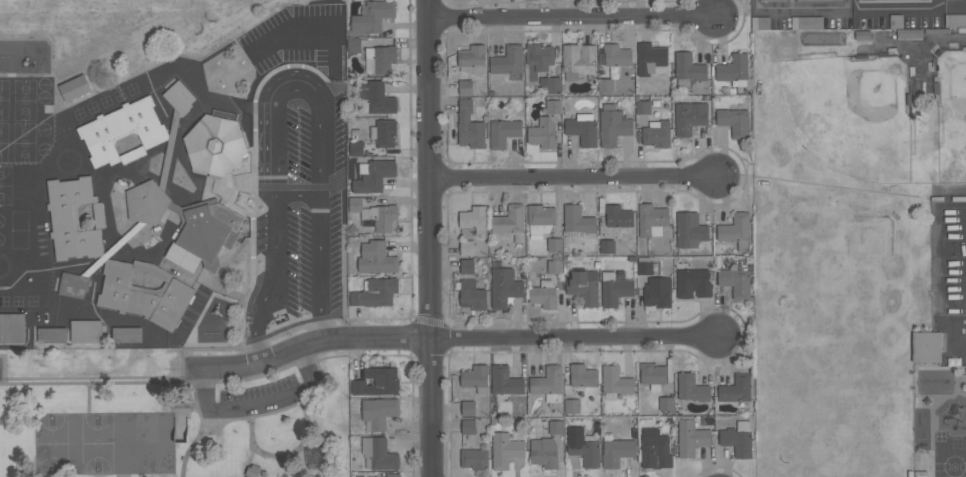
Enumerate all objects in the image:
building: (773, 0)
building: (830, 0)
building: (892, 1)
road: (757, 7)
road: (902, 10)
road: (811, 11)
building: (373, 16)
road: (576, 17)
building: (955, 20)
building: (807, 23)
building: (354, 44)
building: (617, 55)
building: (382, 57)
building: (472, 59)
building: (651, 59)
building: (508, 60)
building: (538, 60)
building: (578, 60)
road: (288, 68)
building: (734, 69)
building: (688, 70)
building: (550, 84)
building: (605, 85)
road: (262, 86)
building: (465, 87)
building: (75, 88)
building: (179, 97)
building: (376, 98)
building: (553, 106)
building: (647, 106)
road: (240, 107)
building: (689, 117)
building: (734, 121)
building: (613, 125)
building: (470, 127)
building: (582, 129)
building: (122, 131)
building: (503, 132)
building: (383, 133)
building: (543, 133)
building: (656, 133)
building: (215, 145)
building: (356, 148)
building: (373, 175)
road: (577, 177)
road: (304, 183)
building: (146, 202)
road: (288, 202)
building: (355, 204)
building: (618, 216)
building: (381, 217)
building: (74, 218)
building: (474, 218)
building: (541, 218)
building: (578, 219)
building: (652, 220)
building: (510, 222)
building: (690, 230)
building: (736, 230)
building: (204, 235)
road: (433, 238)
building: (554, 244)
building: (607, 246)
building: (467, 247)
building: (376, 258)
building: (644, 265)
building: (467, 266)
building: (554, 267)
building: (736, 280)
building: (693, 283)
building: (73, 285)
building: (584, 286)
building: (504, 287)
building: (614, 289)
building: (375, 292)
building: (144, 293)
building: (657, 293)
building: (472, 294)
building: (544, 294)
building: (11, 328)
building: (86, 331)
building: (52, 334)
building: (127, 334)
road: (579, 338)
road: (310, 347)
building: (926, 347)
building: (583, 375)
building: (653, 375)
building: (476, 378)
building: (505, 380)
road: (92, 382)
building: (377, 382)
building: (615, 382)
building: (549, 383)
road: (318, 384)
building: (691, 388)
building: (736, 389)
road: (90, 397)
building: (666, 403)
road: (295, 405)
building: (572, 406)
building: (468, 408)
building: (379, 412)
road: (200, 416)
park: (173, 419)
road: (227, 421)
building: (468, 426)
building: (556, 427)
building: (692, 438)
building: (738, 438)
park: (141, 443)
building: (582, 446)
building: (655, 449)
building: (505, 450)
road: (265, 452)
building: (617, 452)
building: (379, 453)
building: (544, 453)
building: (474, 458)
building: (252, 471)
road: (293, 474)
road: (123, 475)
building: (393, 475)

